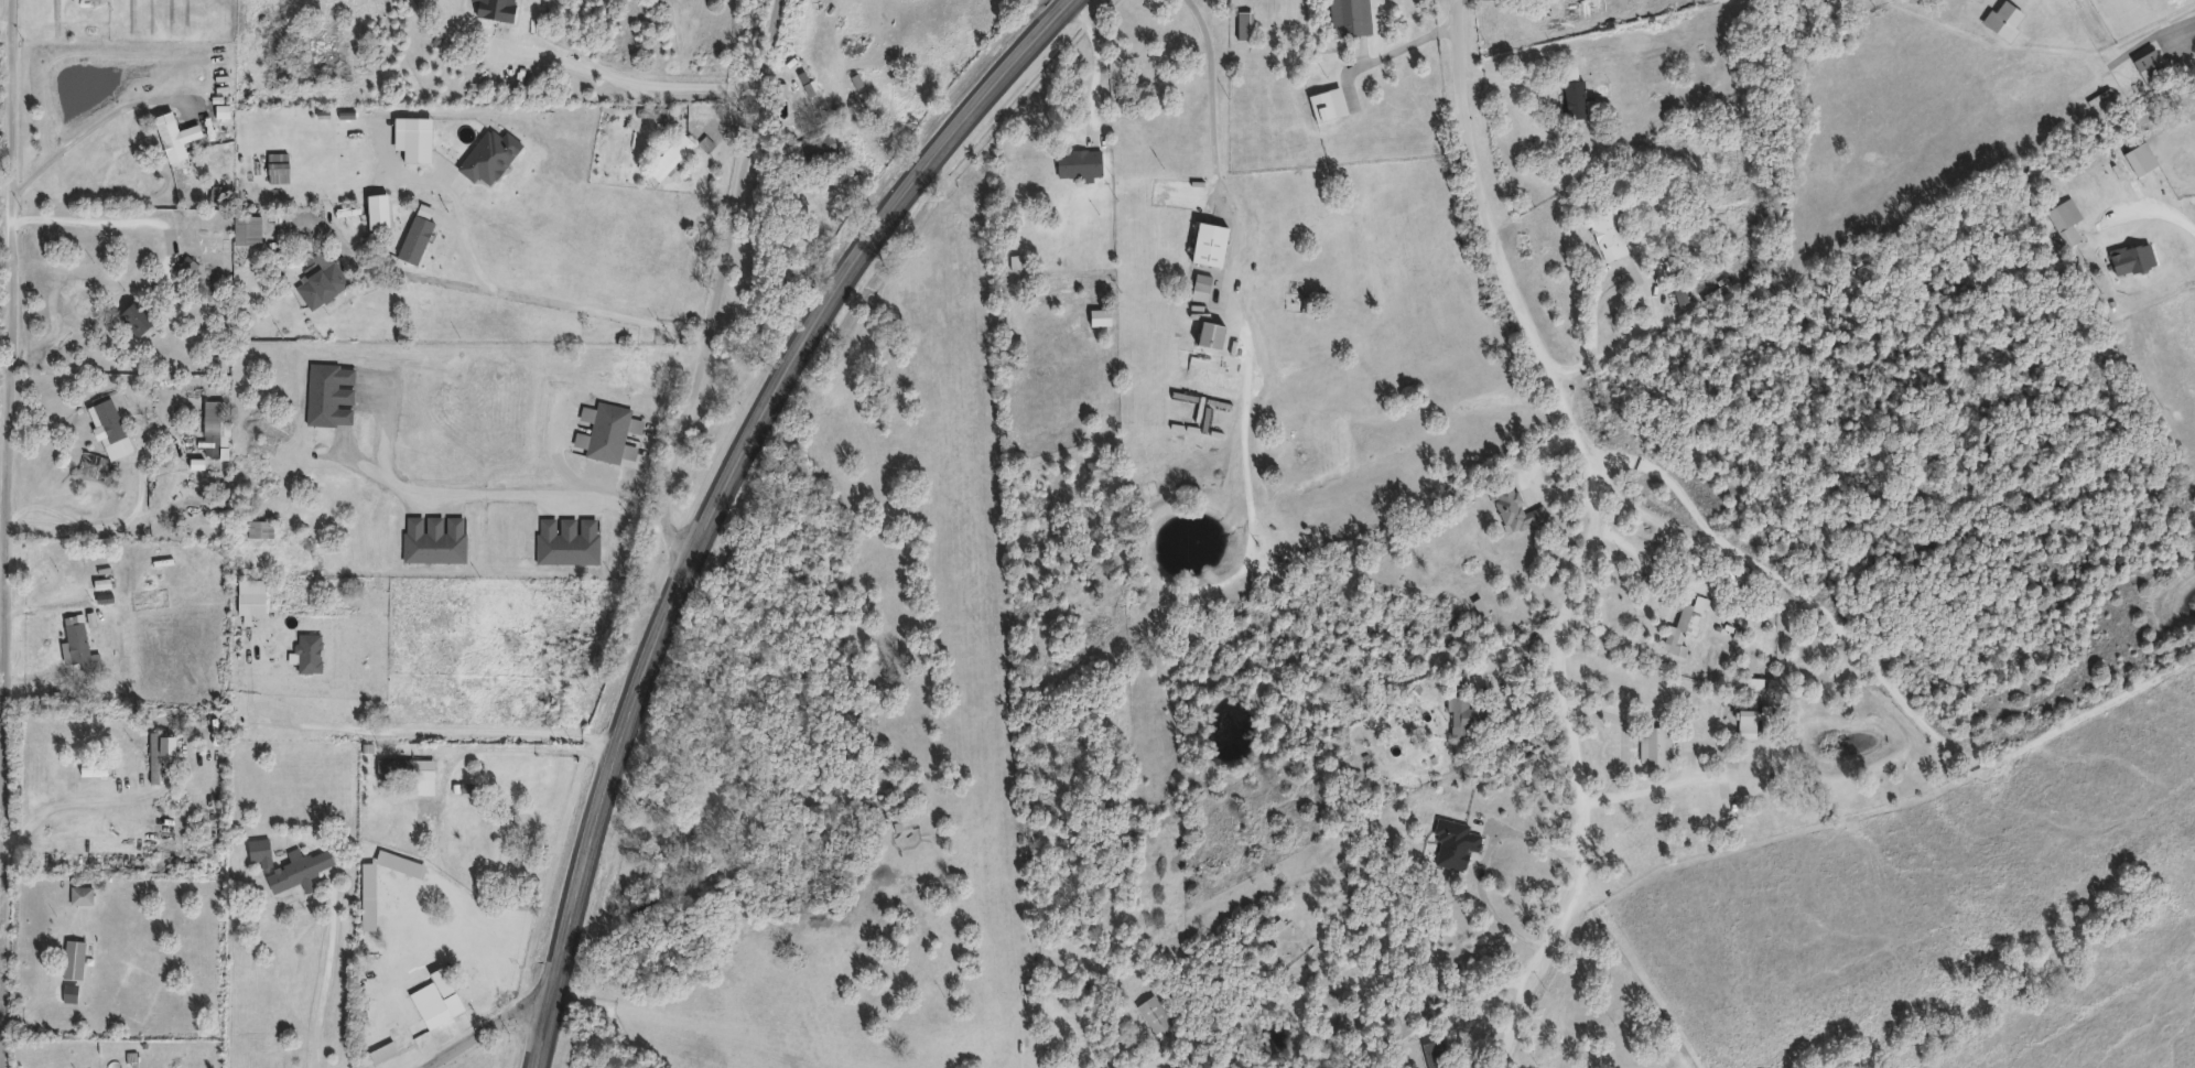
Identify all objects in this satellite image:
building: (97, 0)
building: (1347, 17)
building: (2001, 20)
building: (1242, 24)
road: (4, 26)
road: (2191, 28)
building: (1628, 34)
road: (1462, 35)
road: (1409, 42)
road: (1096, 53)
road: (1550, 62)
road: (647, 77)
building: (1572, 94)
road: (1211, 97)
building: (867, 104)
building: (1323, 104)
road: (518, 117)
road: (91, 128)
building: (171, 136)
building: (817, 149)
building: (670, 155)
building: (1075, 162)
building: (274, 166)
road: (2156, 203)
building: (2062, 214)
road: (112, 220)
building: (246, 228)
building: (1607, 231)
building: (403, 240)
building: (1203, 241)
road: (718, 281)
building: (1198, 281)
building: (317, 282)
building: (1676, 289)
road: (1654, 300)
road: (555, 305)
building: (130, 316)
building: (105, 427)
building: (209, 427)
building: (607, 430)
road: (490, 488)
road: (722, 493)
building: (1513, 508)
building: (257, 528)
road: (98, 529)
road: (3, 533)
building: (565, 540)
road: (1583, 567)
building: (98, 583)
building: (247, 595)
road: (42, 604)
building: (1678, 626)
building: (77, 645)
building: (306, 651)
building: (1460, 716)
building: (1743, 718)
road: (437, 725)
road: (1623, 732)
building: (1651, 747)
building: (151, 757)
building: (401, 767)
building: (89, 770)
road: (1667, 783)
road: (78, 801)
building: (482, 837)
building: (1451, 843)
building: (285, 864)
road: (1480, 865)
building: (79, 895)
building: (72, 959)
road: (1523, 972)
road: (326, 977)
building: (433, 997)
road: (62, 1005)
building: (1150, 1013)
road: (605, 1021)
road: (494, 1028)
building: (399, 1029)
building: (1434, 1053)

